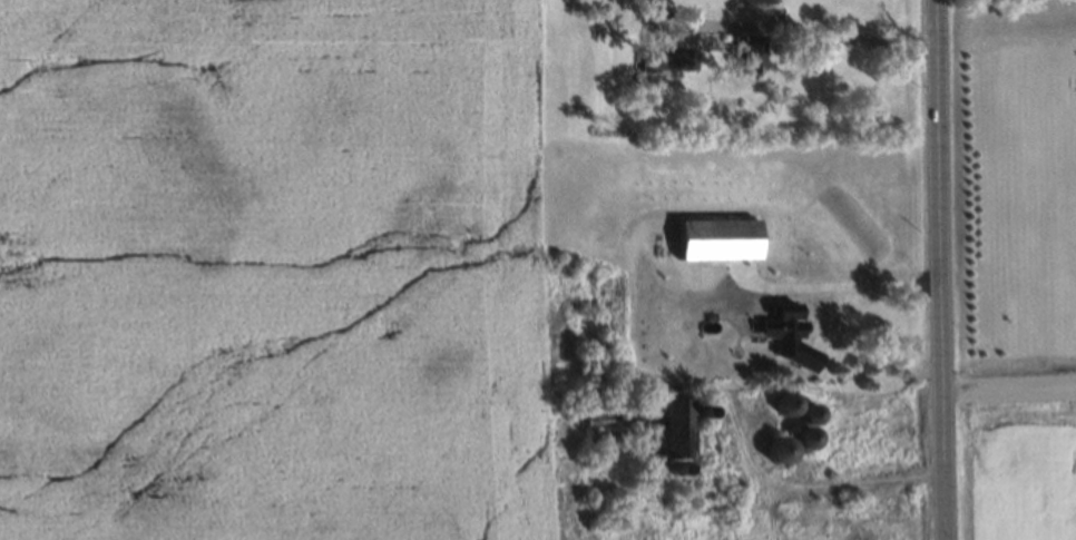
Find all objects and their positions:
road: (813, 33)
building: (746, 50)
building: (665, 60)
building: (712, 236)
road: (939, 269)
building: (593, 289)
building: (780, 321)
building: (687, 343)
road: (732, 379)
building: (761, 379)
building: (744, 385)
road: (1009, 387)
building: (782, 411)
building: (692, 418)
building: (806, 420)
building: (644, 423)
building: (800, 446)
building: (774, 459)
building: (666, 475)

